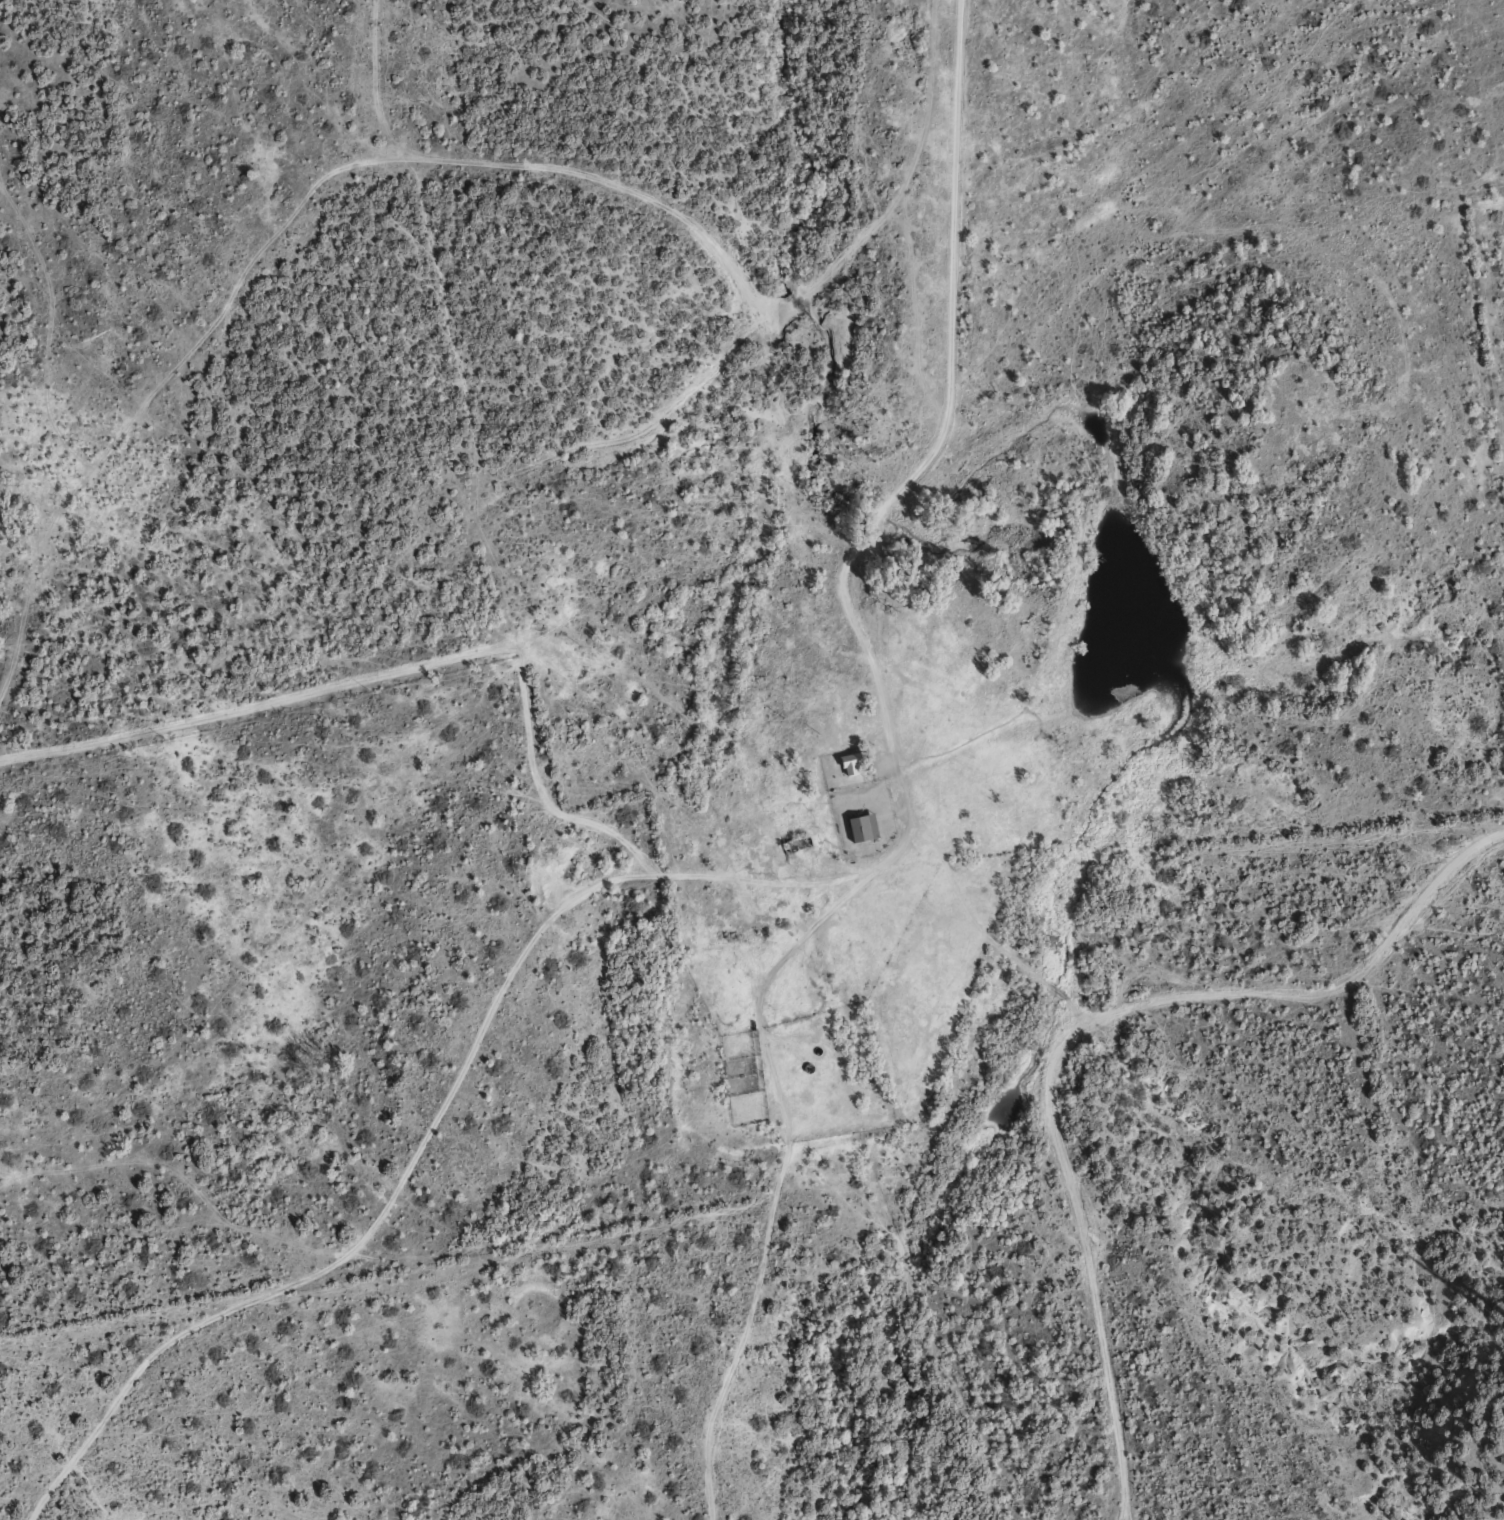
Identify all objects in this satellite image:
road: (708, 246)
road: (348, 636)
road: (215, 754)
building: (852, 763)
road: (900, 765)
building: (864, 827)
road: (1259, 880)
road: (389, 1242)

